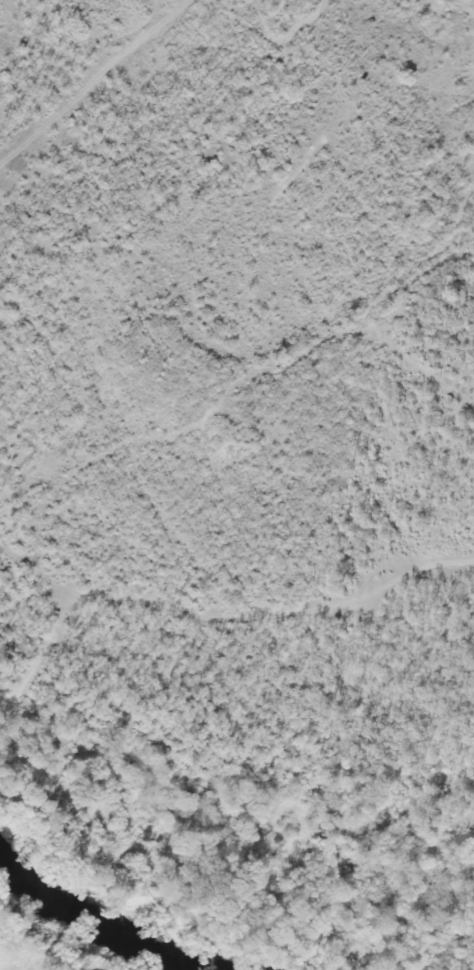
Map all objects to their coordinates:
river: (98, 926)

